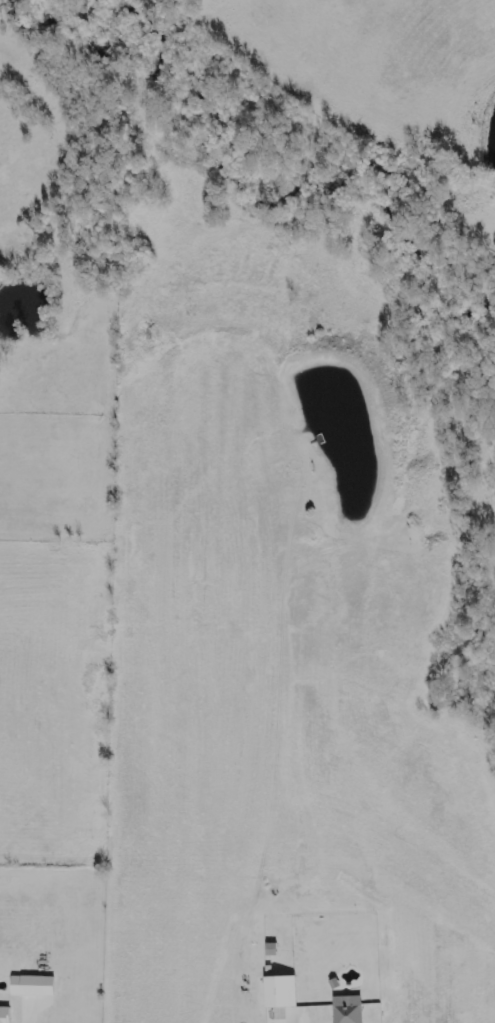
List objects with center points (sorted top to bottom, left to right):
building: (36, 985)
building: (284, 991)
building: (345, 1013)
building: (6, 1014)

